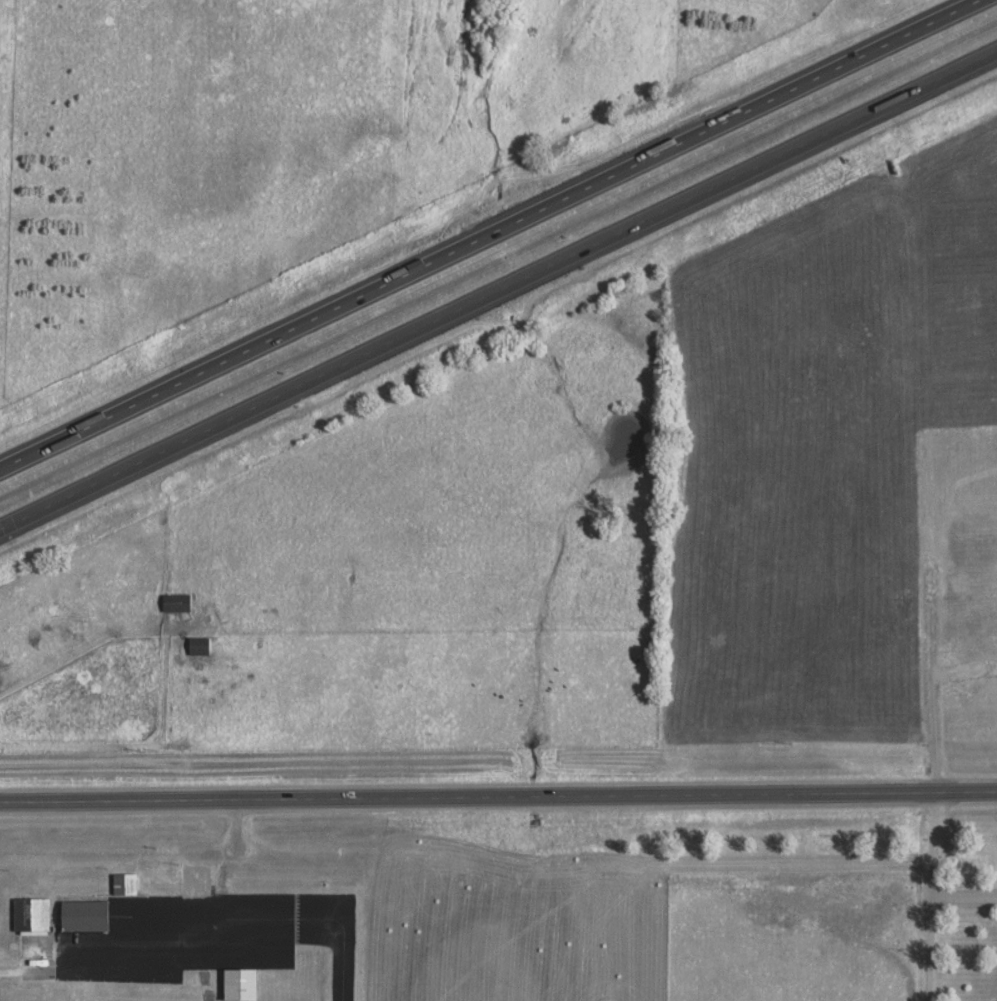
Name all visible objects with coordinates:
road: (492, 237)
road: (499, 293)
building: (179, 602)
building: (201, 645)
building: (0, 671)
road: (498, 796)
building: (126, 882)
road: (932, 896)
building: (87, 914)
building: (29, 919)
airport taxiway: (356, 937)
building: (244, 982)

